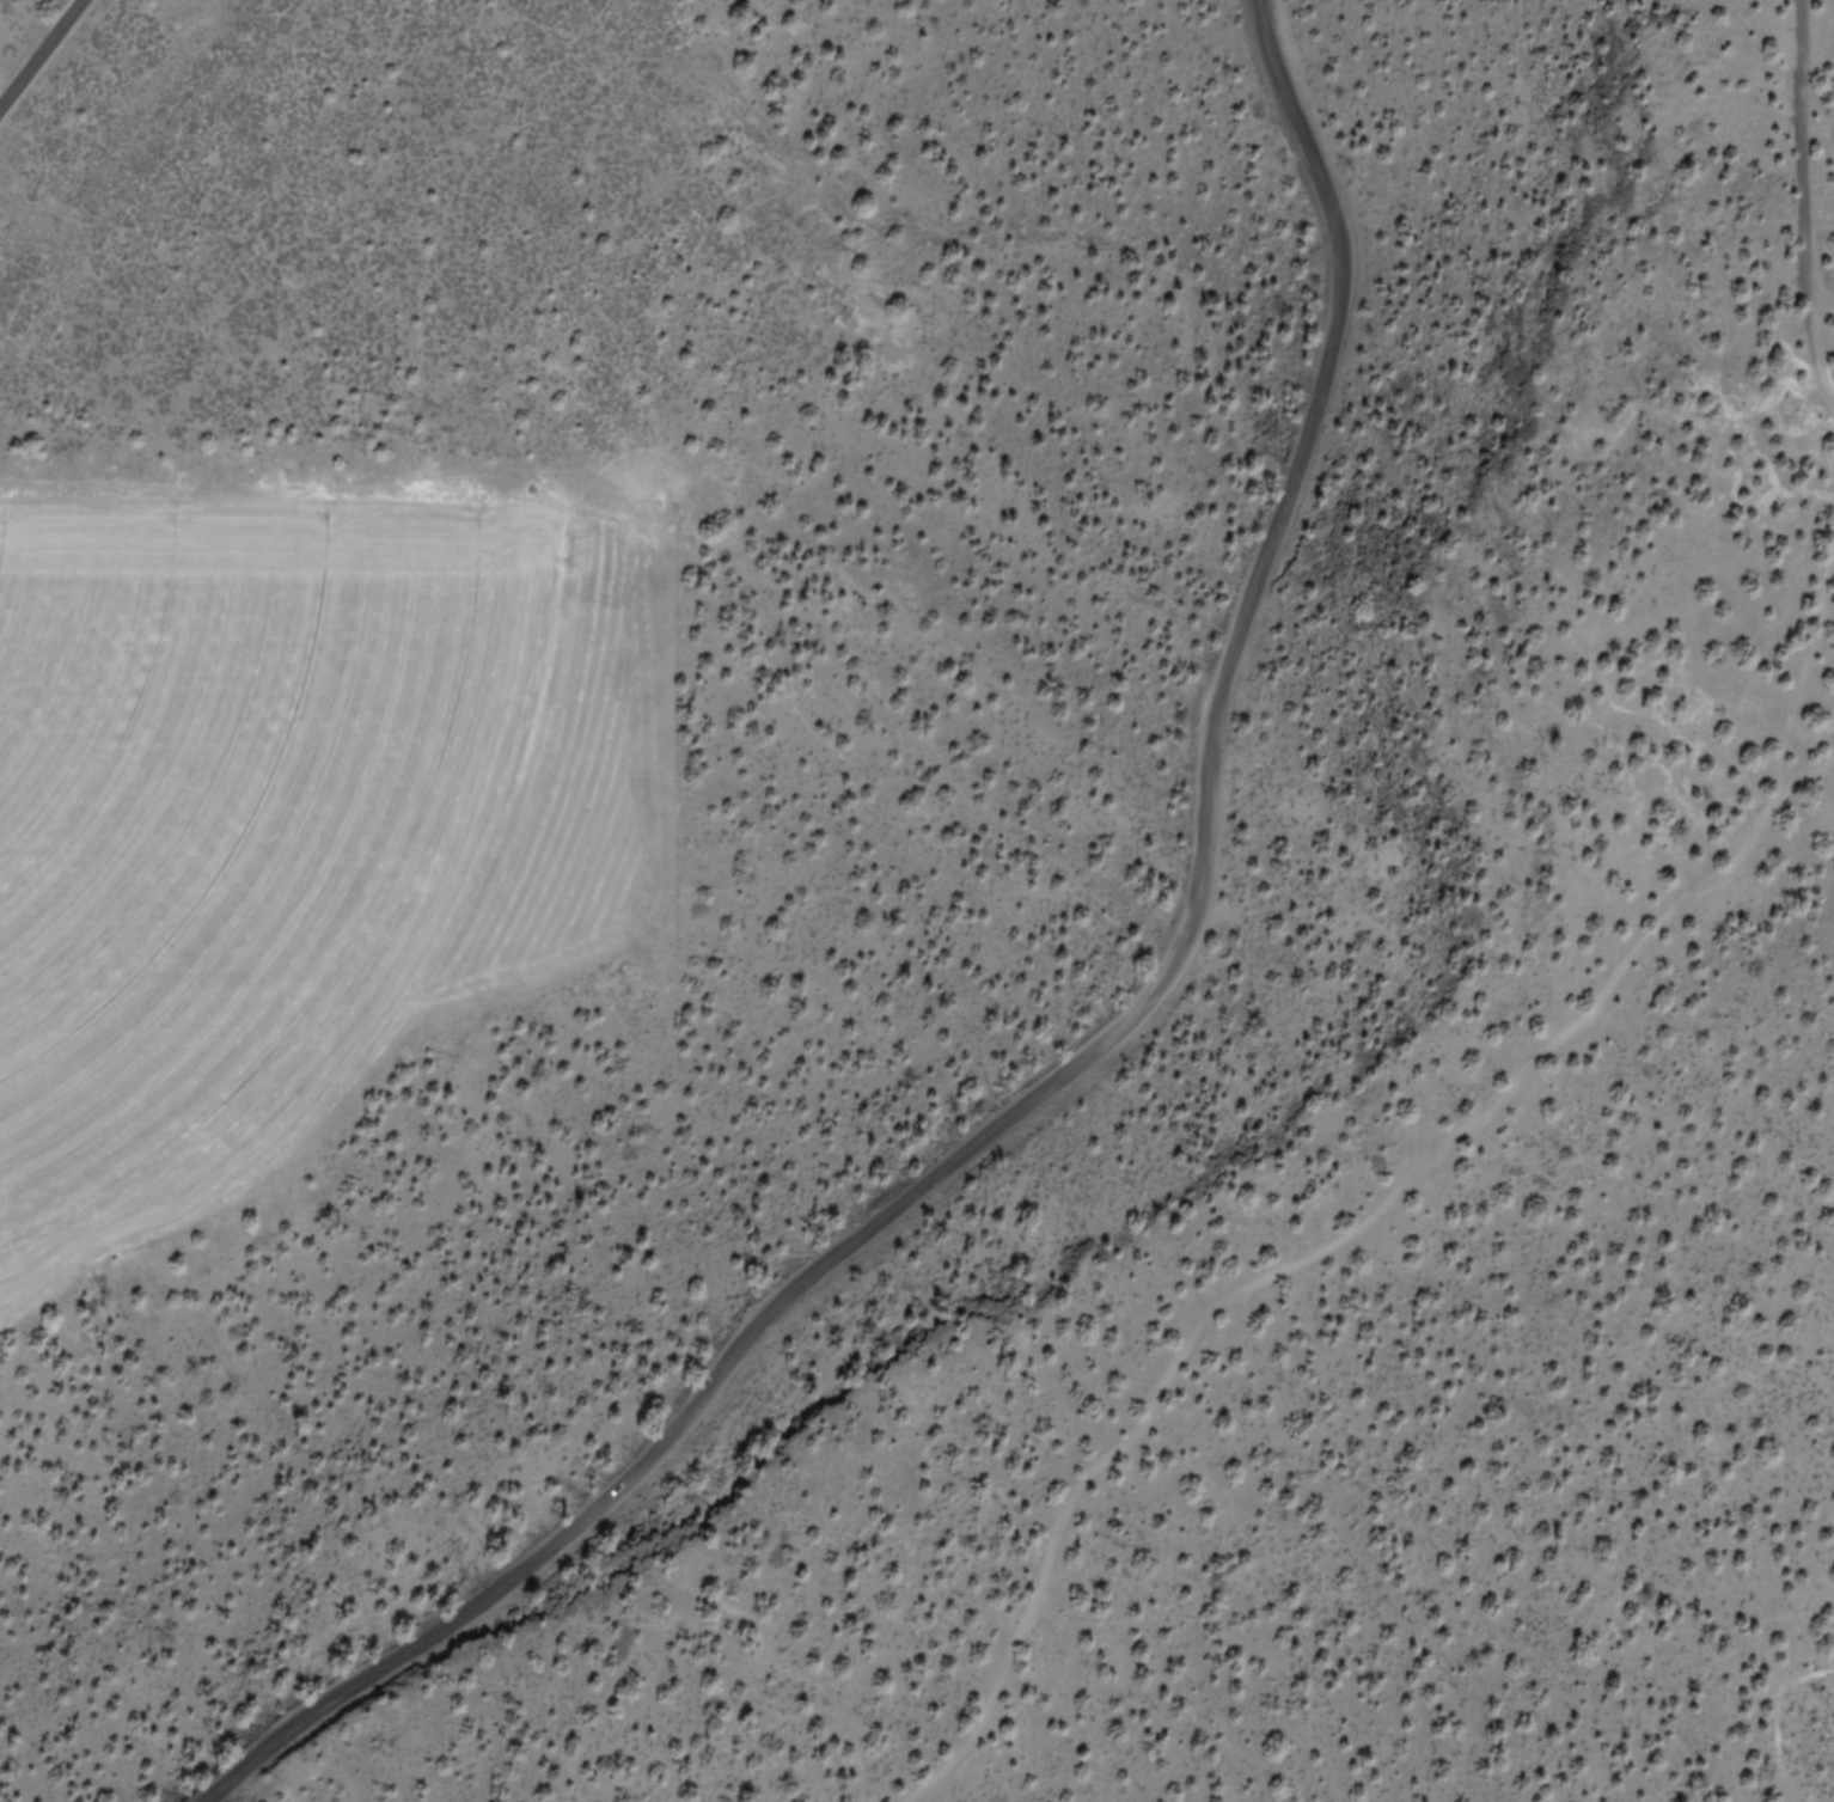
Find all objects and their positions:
road: (13, 19)
road: (1070, 1068)
road: (1319, 1259)

